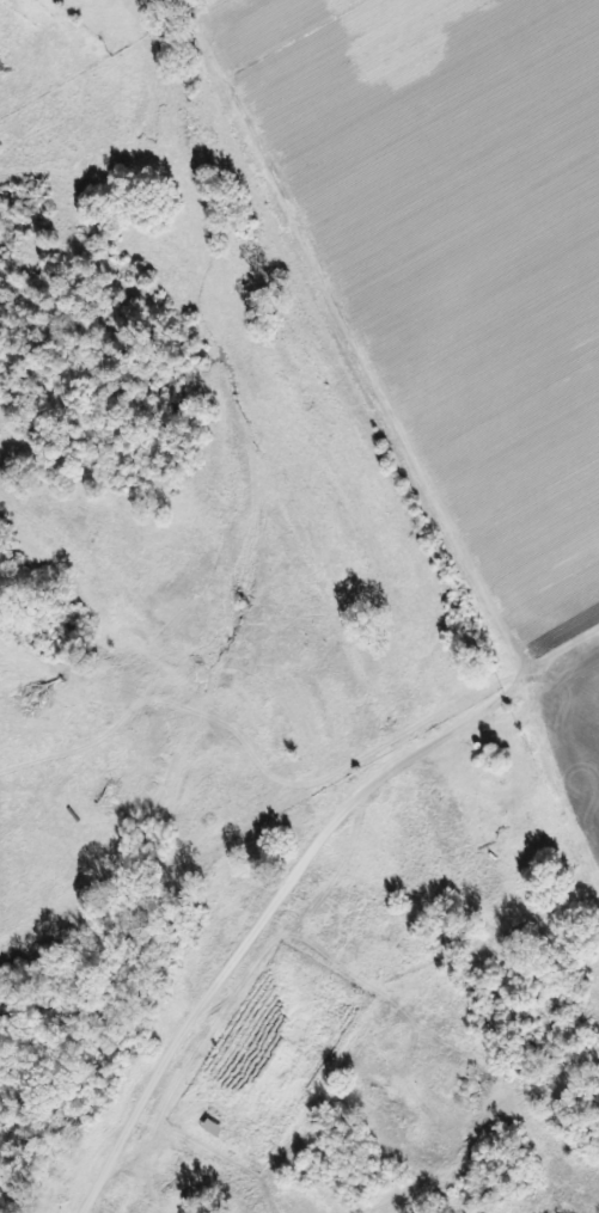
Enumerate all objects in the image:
road: (562, 773)
road: (257, 805)
road: (269, 917)

